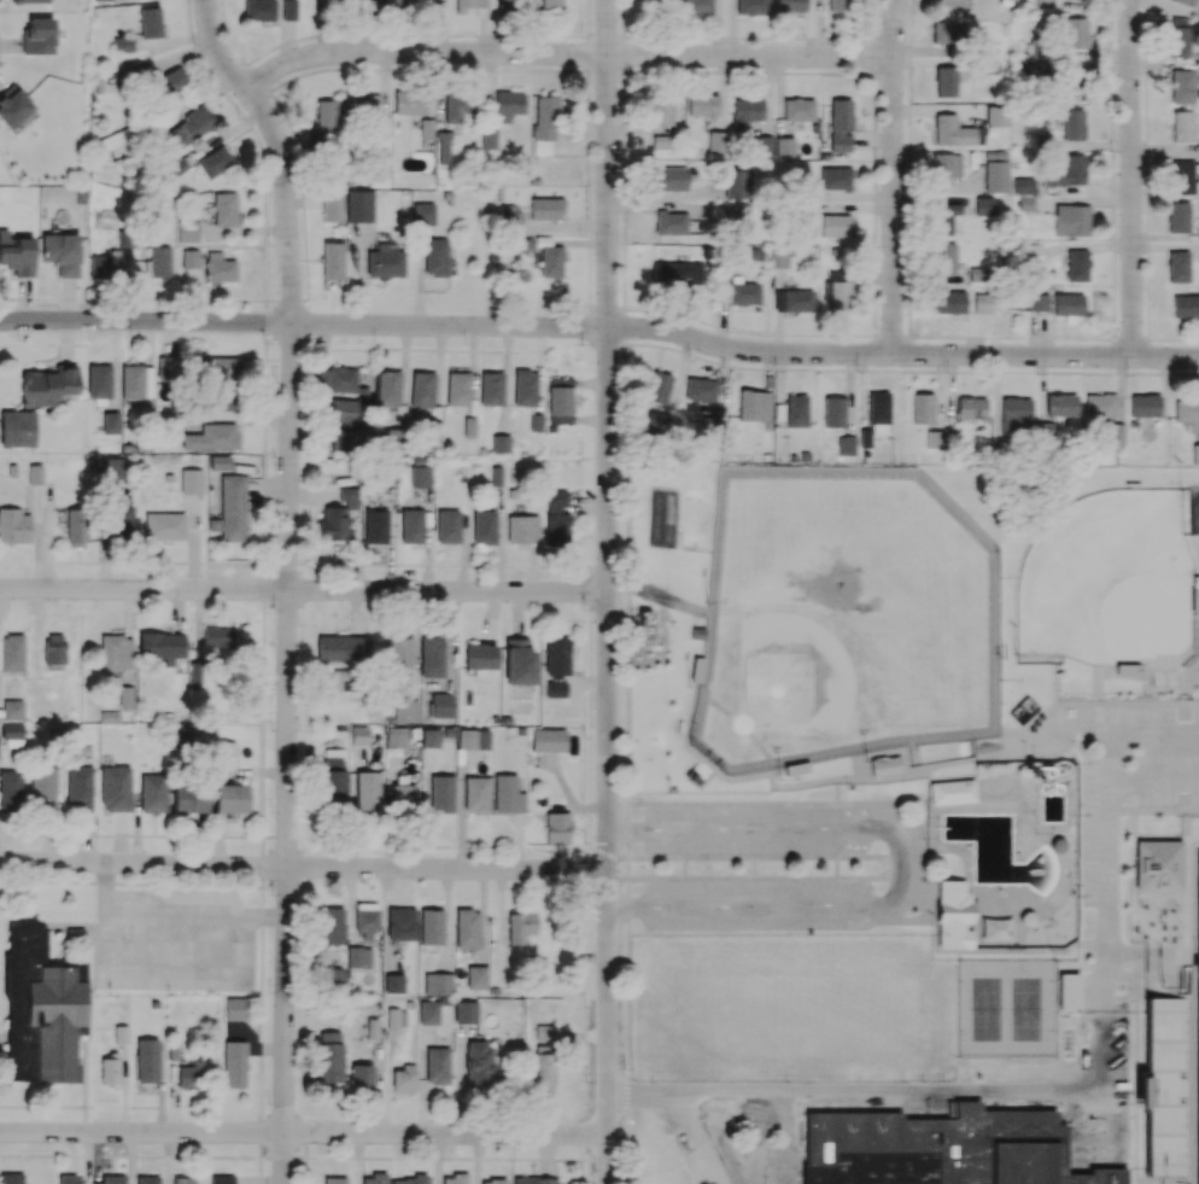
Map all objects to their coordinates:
road: (563, 53)
road: (608, 163)
road: (894, 176)
road: (1131, 177)
road: (304, 323)
road: (901, 354)
road: (287, 581)
park: (1107, 583)
road: (303, 590)
park: (843, 620)
road: (608, 756)
road: (897, 865)
road: (303, 868)
park: (987, 1009)
park: (1025, 1009)
track: (1198, 1016)
building: (119, 1033)
road: (1095, 1092)
road: (682, 1112)
road: (304, 1133)
building: (10, 1178)
building: (454, 1178)
building: (68, 1179)
building: (334, 1180)

